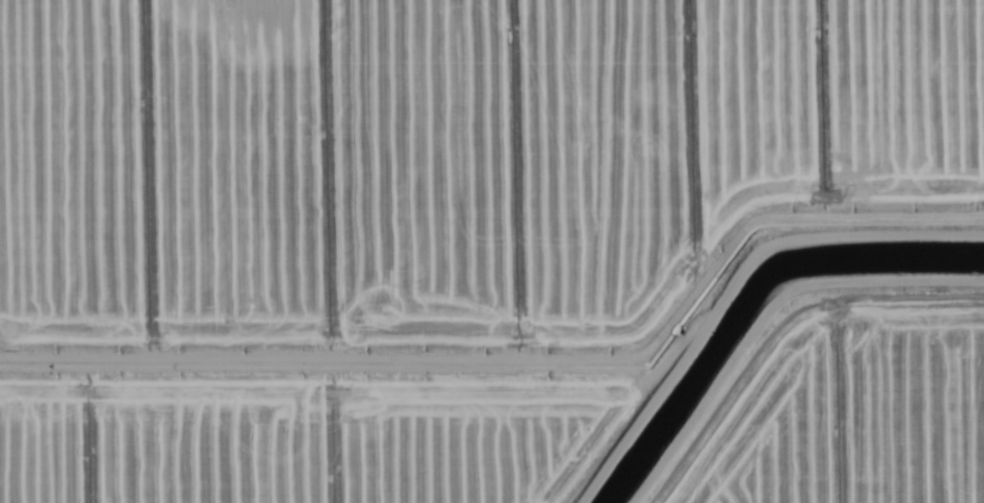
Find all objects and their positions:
crop: (492, 251)

